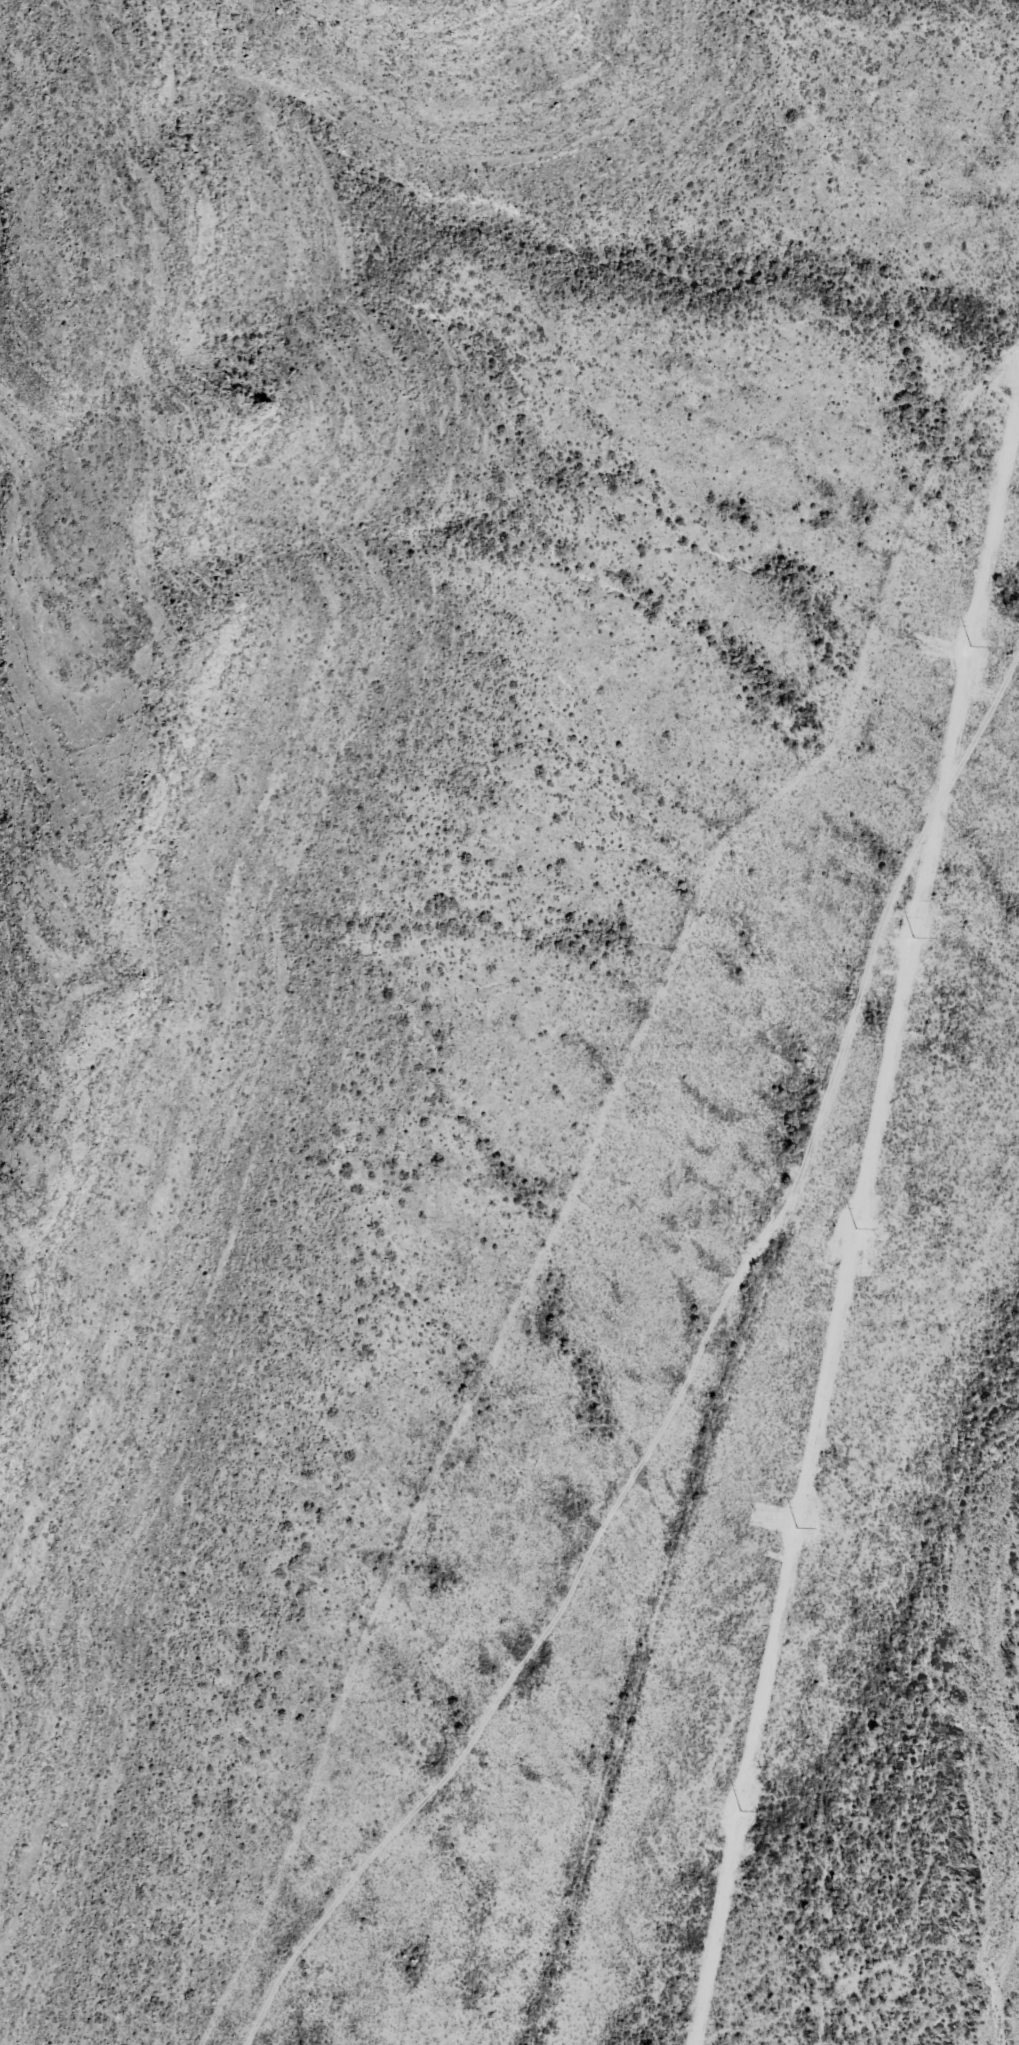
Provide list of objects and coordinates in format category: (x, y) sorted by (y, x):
road: (687, 1377)

